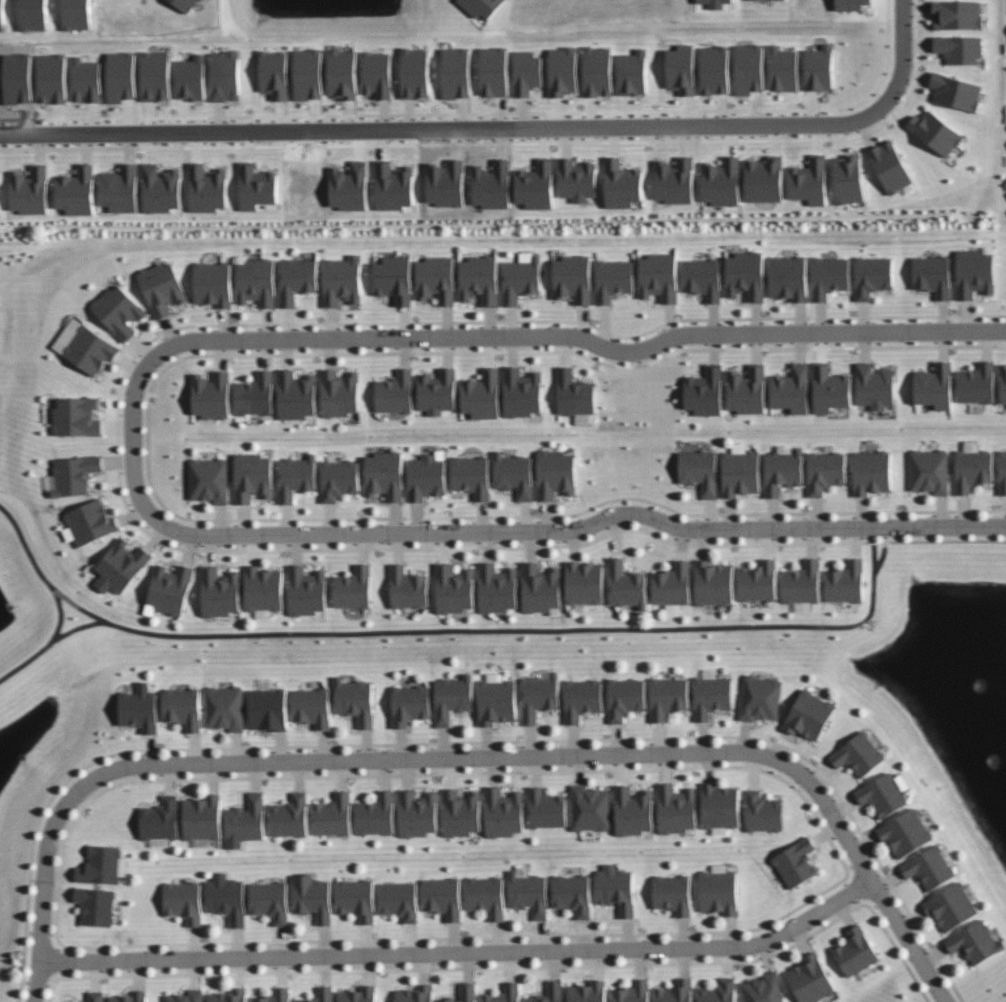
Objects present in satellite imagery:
building: (766, 0)
building: (715, 3)
building: (185, 4)
building: (852, 5)
building: (482, 7)
building: (34, 15)
building: (77, 15)
building: (2, 16)
building: (959, 16)
building: (960, 50)
road: (900, 54)
building: (750, 69)
building: (820, 69)
building: (784, 70)
building: (682, 71)
building: (716, 71)
building: (564, 72)
building: (599, 72)
building: (494, 73)
building: (415, 74)
building: (456, 74)
building: (528, 74)
building: (634, 74)
building: (274, 75)
building: (308, 75)
building: (343, 75)
building: (378, 75)
building: (156, 77)
building: (225, 77)
building: (121, 78)
building: (53, 79)
building: (191, 80)
building: (86, 81)
building: (957, 93)
road: (443, 129)
building: (937, 133)
building: (891, 168)
building: (849, 180)
building: (577, 181)
building: (764, 181)
building: (675, 183)
building: (722, 183)
building: (809, 184)
building: (622, 186)
building: (537, 187)
building: (257, 188)
building: (349, 188)
building: (394, 188)
building: (161, 190)
building: (207, 190)
building: (120, 191)
building: (30, 192)
building: (77, 193)
building: (976, 272)
building: (746, 275)
building: (933, 275)
building: (830, 276)
building: (873, 276)
building: (522, 277)
building: (660, 277)
building: (789, 277)
building: (395, 278)
building: (574, 278)
building: (703, 278)
building: (297, 279)
building: (437, 279)
building: (480, 279)
building: (614, 279)
building: (342, 280)
building: (257, 282)
building: (214, 283)
building: (163, 288)
building: (119, 311)
building: (67, 335)
road: (505, 337)
building: (91, 350)
building: (978, 383)
building: (1003, 385)
building: (875, 386)
building: (936, 386)
building: (792, 389)
building: (748, 390)
building: (831, 390)
building: (438, 391)
building: (522, 392)
building: (705, 392)
building: (340, 393)
building: (395, 393)
building: (212, 395)
building: (256, 395)
building: (296, 395)
building: (483, 395)
building: (576, 397)
building: (77, 416)
building: (974, 467)
building: (784, 469)
building: (700, 471)
building: (931, 471)
building: (826, 472)
building: (873, 472)
building: (741, 473)
building: (1003, 473)
building: (515, 474)
building: (556, 474)
building: (75, 475)
building: (385, 475)
building: (428, 476)
building: (472, 476)
building: (253, 477)
building: (297, 477)
building: (340, 479)
building: (210, 480)
building: (91, 522)
road: (569, 532)
building: (121, 567)
building: (760, 581)
building: (585, 583)
building: (715, 583)
building: (803, 583)
building: (846, 583)
building: (627, 585)
building: (673, 585)
building: (353, 588)
building: (408, 588)
building: (541, 588)
building: (171, 589)
building: (264, 589)
building: (498, 589)
building: (455, 590)
building: (306, 591)
building: (220, 593)
building: (540, 695)
building: (670, 697)
building: (712, 697)
building: (453, 698)
building: (626, 698)
building: (761, 698)
building: (583, 699)
building: (355, 701)
building: (497, 702)
building: (410, 705)
building: (269, 706)
building: (312, 707)
building: (139, 708)
building: (183, 708)
building: (225, 708)
building: (810, 715)
building: (859, 754)
road: (334, 759)
building: (884, 795)
building: (721, 806)
building: (547, 809)
building: (590, 809)
building: (677, 810)
building: (634, 812)
building: (461, 813)
building: (504, 813)
building: (764, 813)
building: (418, 814)
building: (376, 815)
building: (333, 816)
building: (290, 817)
building: (203, 818)
building: (161, 819)
building: (247, 820)
building: (907, 833)
building: (797, 863)
building: (616, 889)
building: (720, 892)
building: (673, 894)
building: (573, 895)
road: (879, 895)
building: (487, 896)
building: (227, 898)
building: (313, 898)
building: (443, 898)
building: (357, 899)
building: (270, 901)
building: (400, 901)
building: (183, 902)
building: (96, 906)
building: (952, 907)
building: (976, 943)
building: (857, 952)
road: (462, 954)
building: (812, 979)
building: (764, 989)
building: (719, 991)
building: (589, 992)
building: (676, 992)
building: (465, 993)
building: (550, 993)
building: (417, 994)
building: (506, 994)
building: (321, 995)
building: (359, 995)
building: (96, 996)
building: (230, 996)
building: (275, 996)
building: (131, 997)
building: (187, 997)

